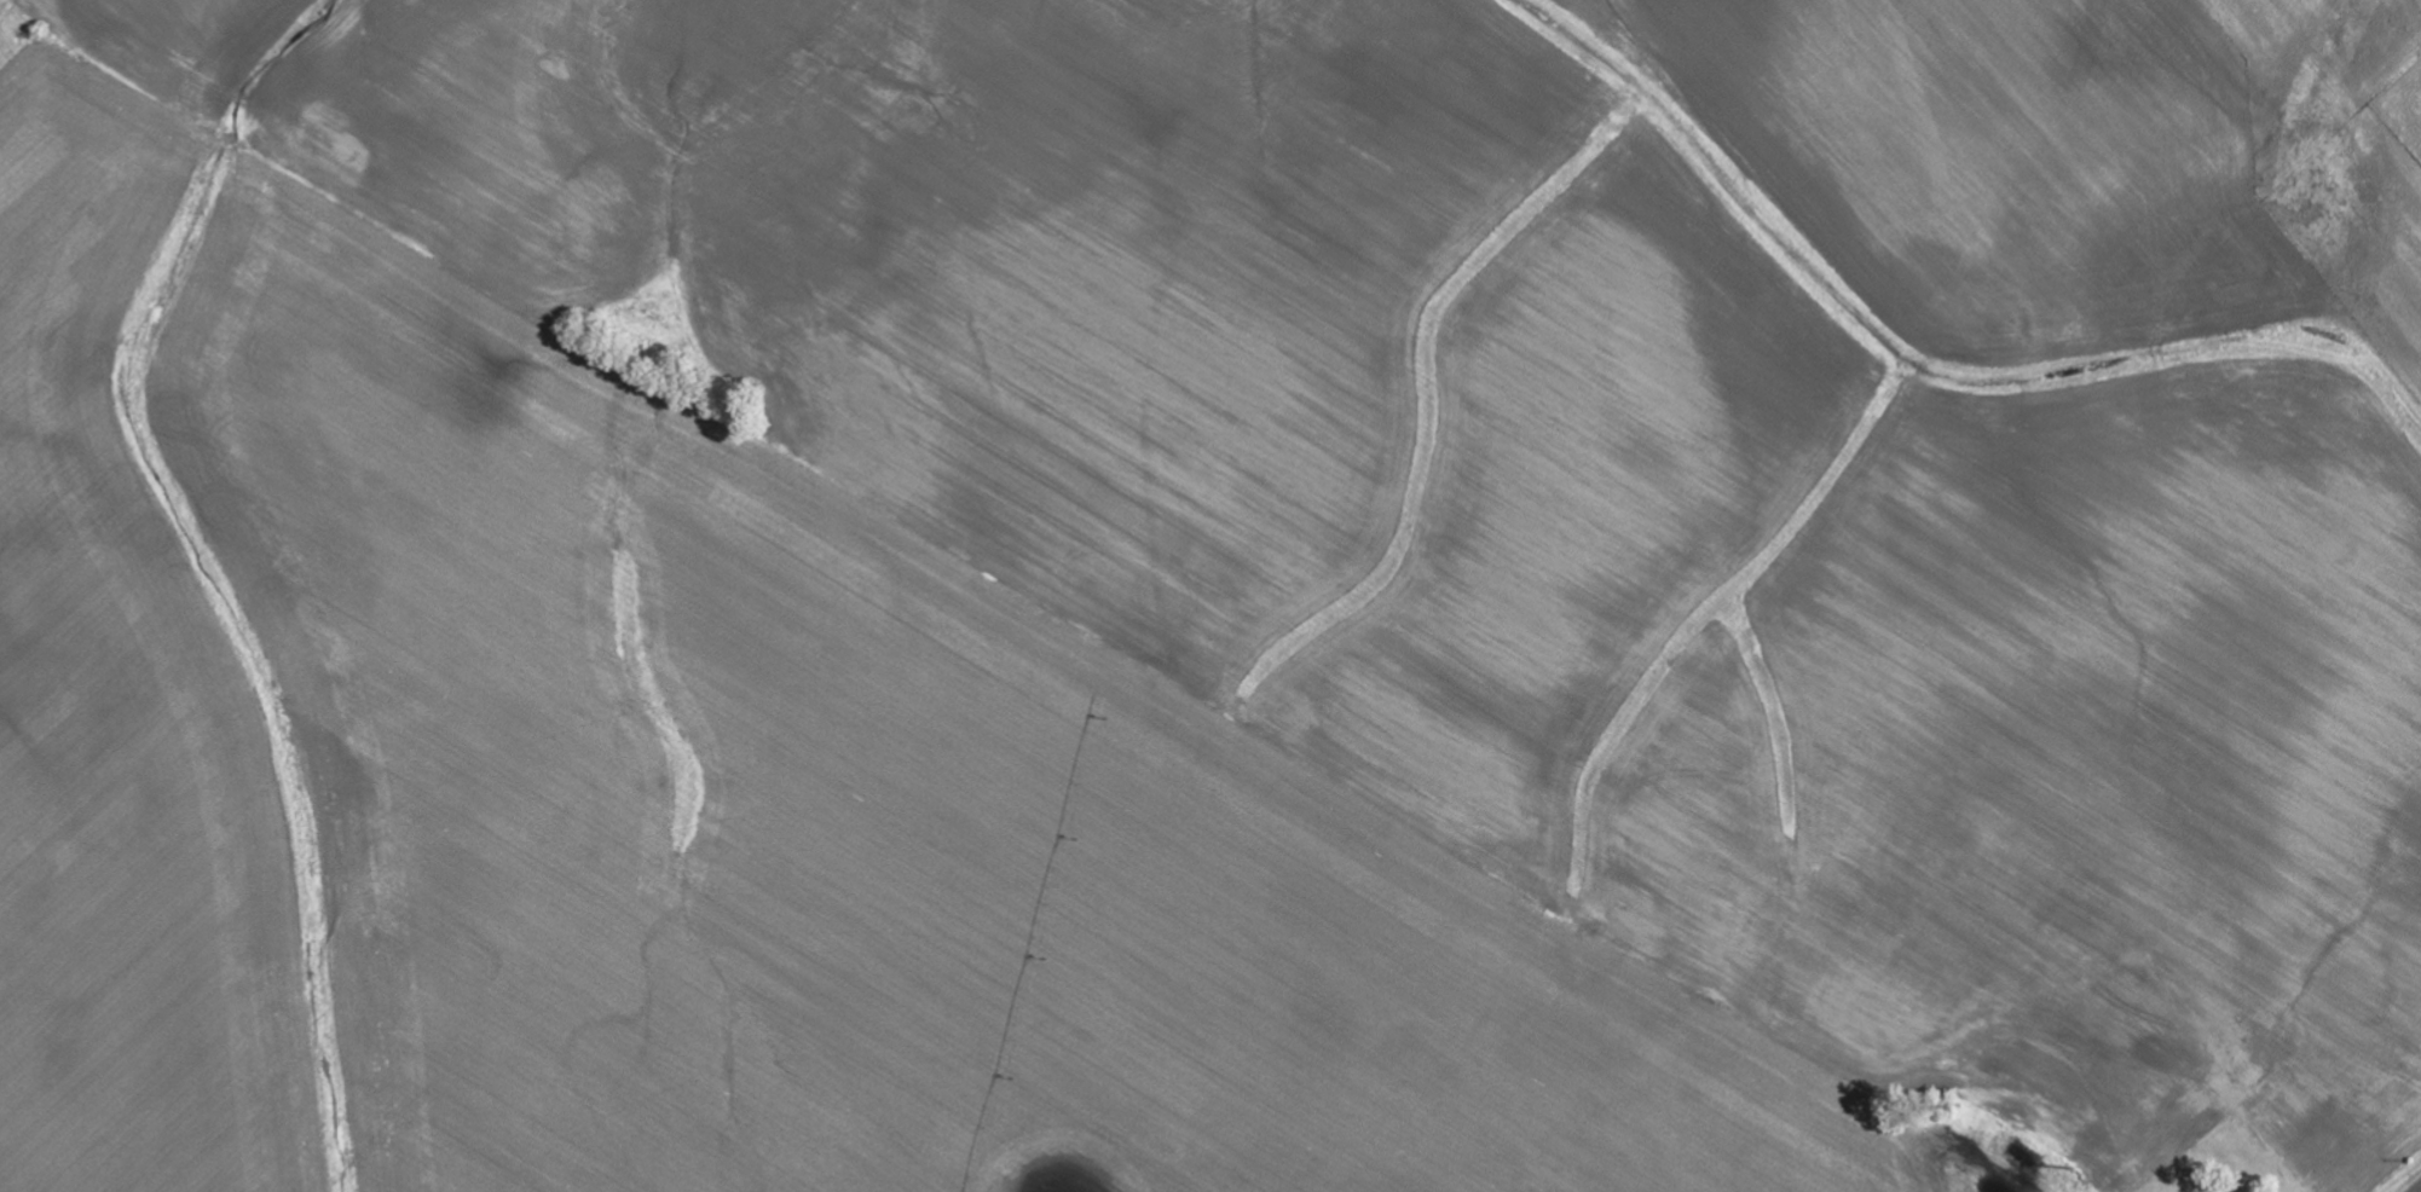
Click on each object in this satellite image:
road: (2420, 1191)

